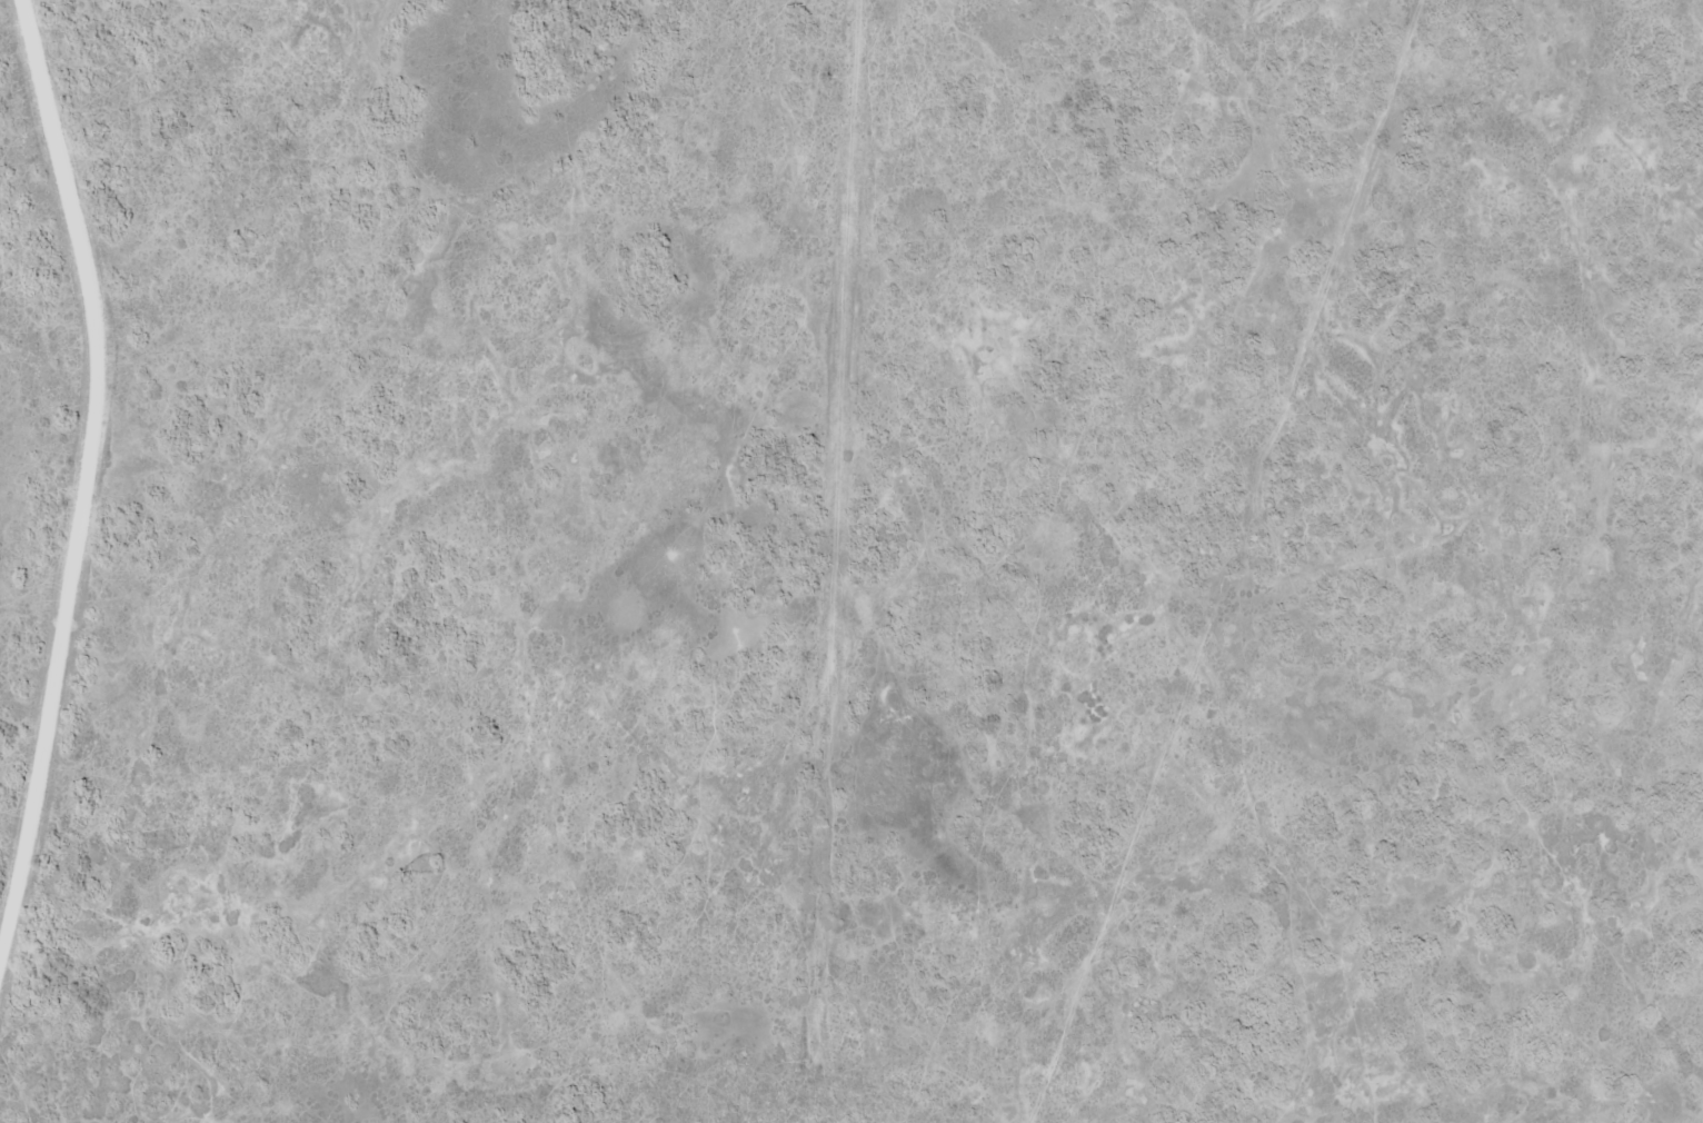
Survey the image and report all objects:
road: (841, 561)
road: (110, 577)

